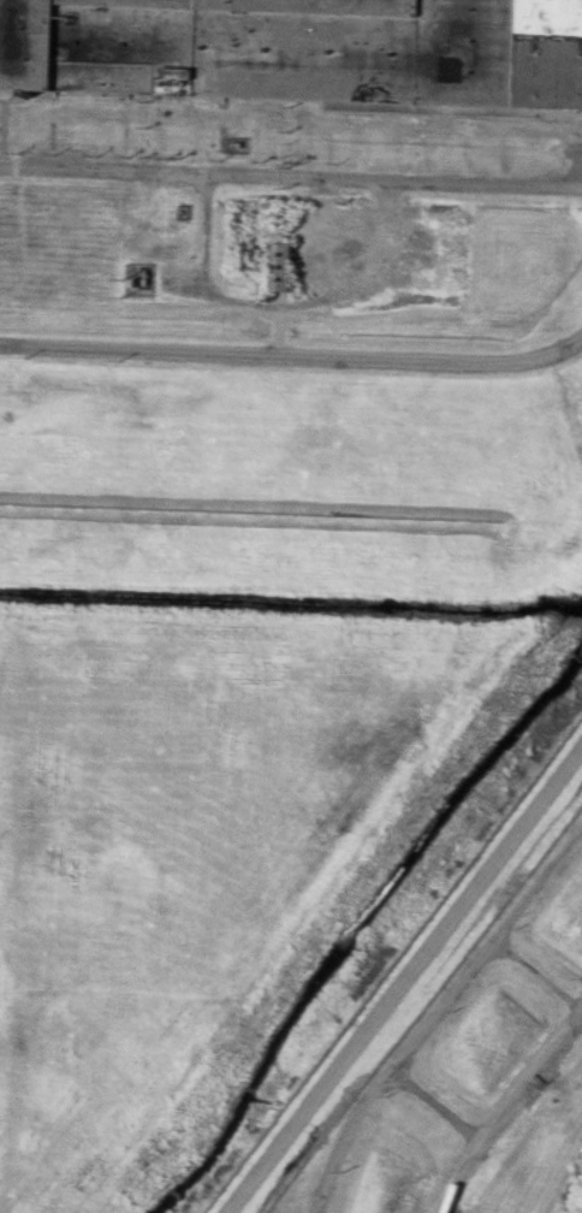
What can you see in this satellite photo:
building: (302, 48)
road: (291, 166)
road: (293, 349)

